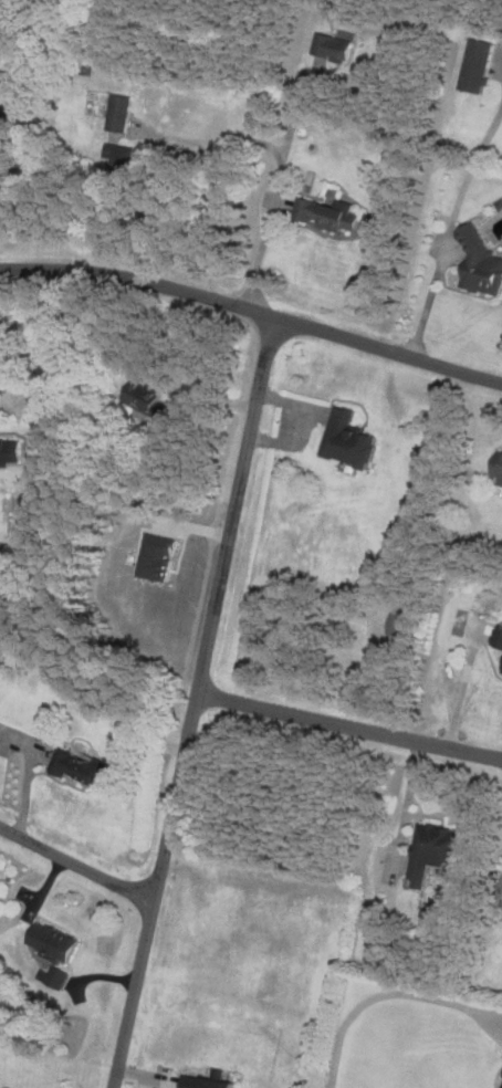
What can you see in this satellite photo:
building: (334, 49)
building: (478, 67)
building: (121, 114)
building: (121, 156)
road: (266, 195)
building: (328, 216)
road: (446, 223)
building: (482, 264)
road: (253, 308)
road: (57, 356)
building: (148, 398)
building: (349, 439)
building: (11, 451)
building: (499, 469)
road: (239, 505)
building: (499, 638)
road: (458, 692)
road: (352, 726)
building: (82, 766)
road: (35, 772)
road: (409, 802)
building: (435, 851)
road: (79, 861)
road: (159, 891)
building: (54, 943)
road: (386, 993)
building: (208, 1082)

